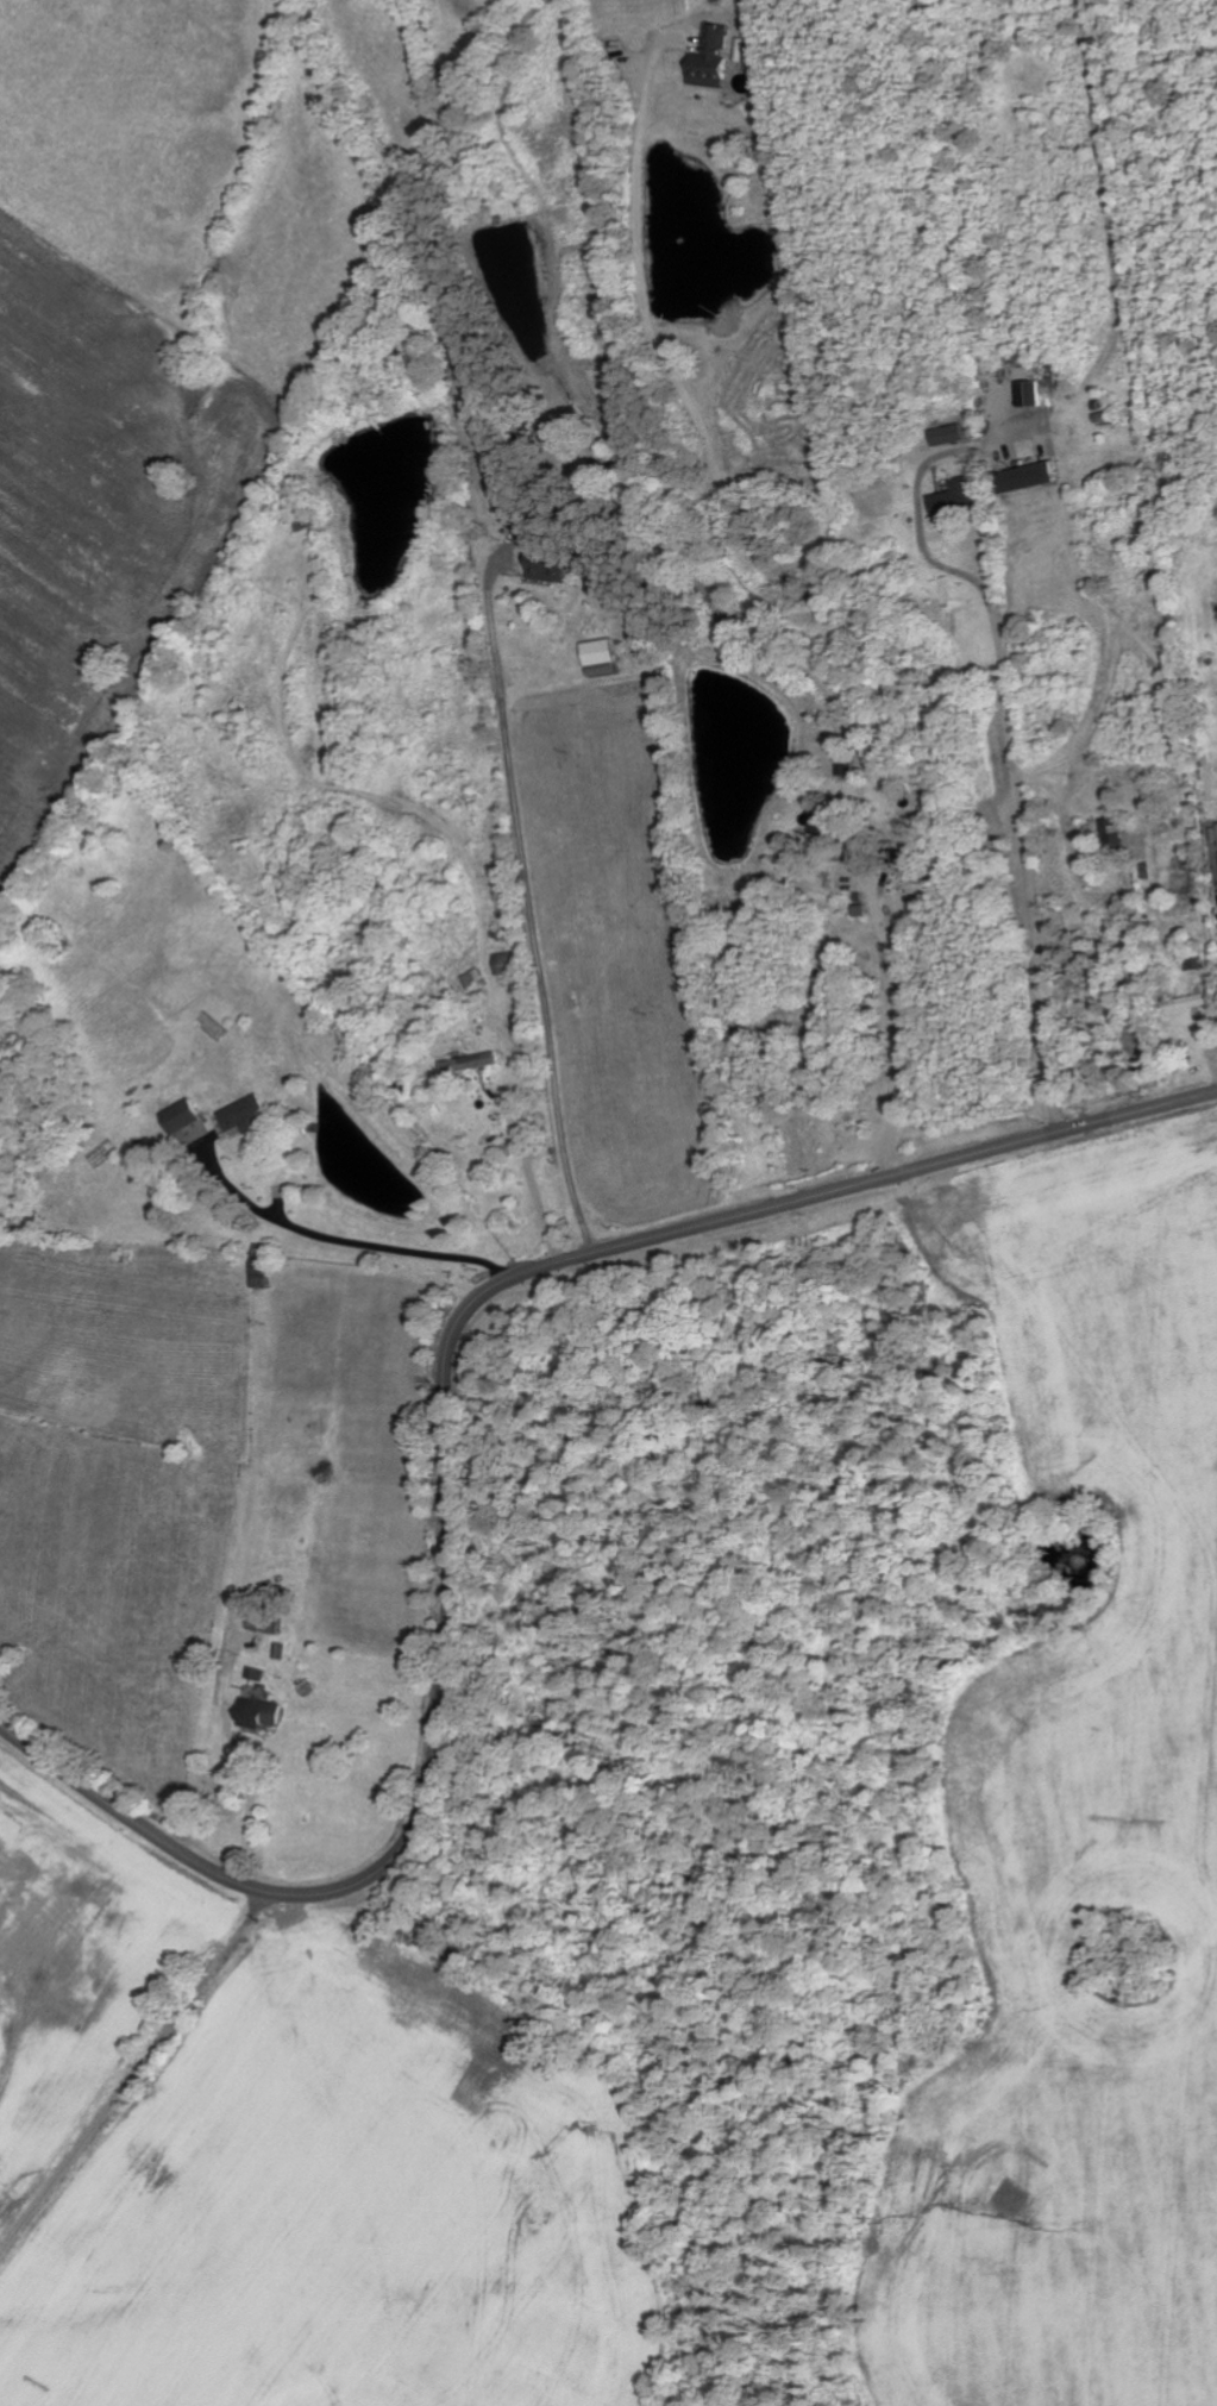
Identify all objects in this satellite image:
building: (713, 57)
building: (1031, 393)
road: (708, 432)
building: (949, 434)
building: (1028, 477)
building: (956, 497)
building: (521, 522)
building: (551, 566)
building: (603, 657)
building: (1114, 829)
road: (1022, 842)
road: (529, 906)
building: (1187, 1003)
road: (891, 1033)
building: (472, 1064)
building: (246, 1115)
building: (182, 1116)
road: (531, 1179)
road: (345, 1241)
building: (263, 1266)
road: (446, 1423)
building: (266, 1624)
building: (258, 1673)
building: (263, 1713)
road: (246, 1761)
road: (133, 2076)

